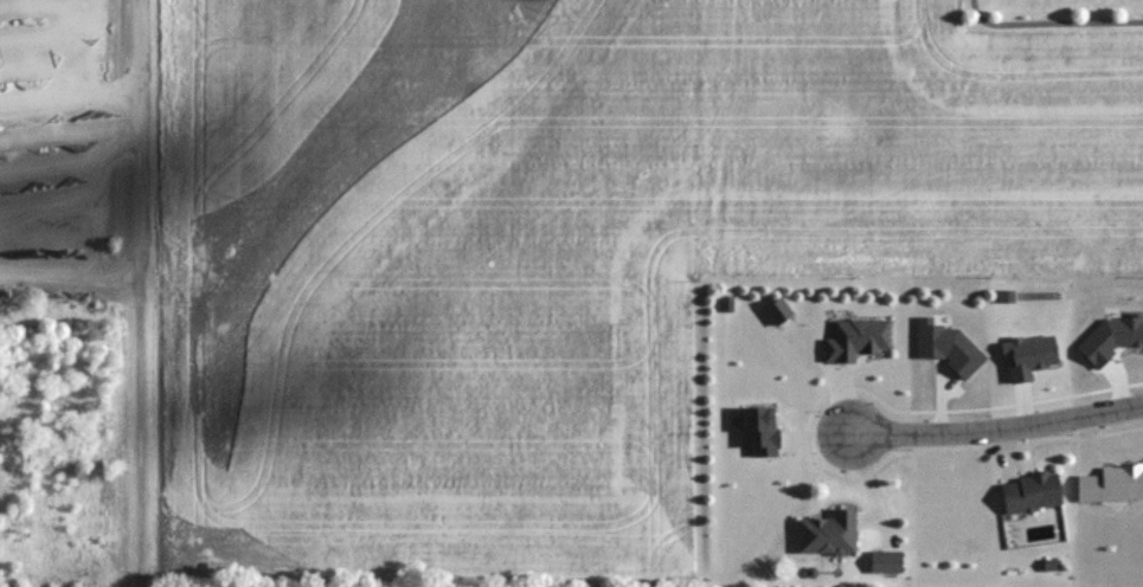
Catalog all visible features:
crop: (563, 250)
road: (140, 282)
building: (730, 304)
building: (779, 311)
building: (1112, 335)
building: (860, 338)
building: (951, 344)
building: (1033, 354)
road: (997, 426)
building: (762, 431)
building: (1113, 484)
building: (1035, 492)
building: (831, 534)
building: (888, 561)
building: (1054, 565)
crop: (114, 583)

